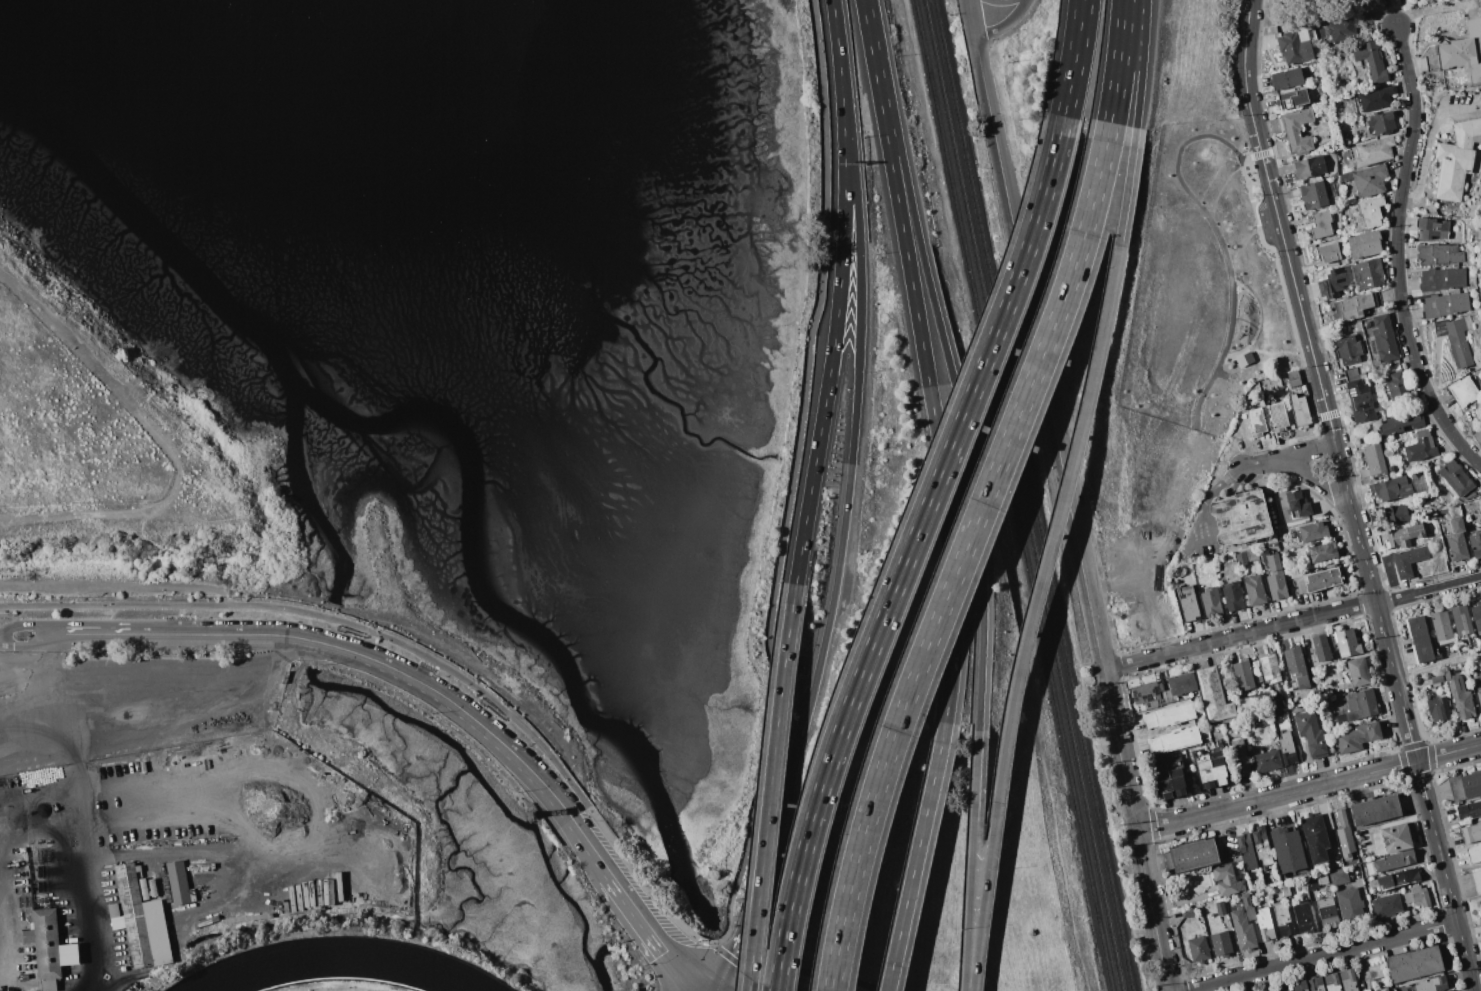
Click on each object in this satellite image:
road: (966, 1)
road: (1024, 2)
road: (1430, 10)
road: (1388, 13)
road: (1396, 13)
building: (1367, 16)
road: (970, 19)
road: (1002, 25)
building: (1340, 31)
road: (836, 35)
building: (1294, 48)
building: (1459, 53)
road: (1074, 58)
road: (1119, 61)
building: (1372, 61)
road: (1141, 63)
road: (1245, 77)
building: (1287, 78)
building: (1344, 78)
building: (1320, 87)
building: (1382, 97)
building: (1292, 99)
building: (1365, 101)
building: (1382, 123)
building: (1297, 131)
road: (1428, 147)
building: (1372, 151)
building: (1457, 160)
building: (1310, 167)
building: (1346, 177)
building: (1370, 180)
road: (1223, 186)
building: (1314, 195)
building: (1371, 211)
building: (1322, 225)
building: (1432, 228)
road: (1248, 237)
road: (1221, 240)
building: (1365, 244)
building: (1329, 252)
road: (1399, 253)
building: (1438, 254)
road: (1290, 260)
building: (1368, 273)
building: (1442, 279)
building: (1335, 281)
park: (1203, 287)
building: (1445, 305)
building: (1353, 306)
road: (1259, 322)
road: (835, 328)
road: (69, 329)
building: (1384, 338)
building: (1455, 340)
building: (1349, 350)
road: (1039, 353)
road: (1280, 353)
road: (924, 359)
building: (1244, 359)
road: (947, 361)
road: (1221, 373)
building: (1350, 374)
building: (1294, 379)
building: (1398, 389)
building: (1464, 392)
building: (1362, 401)
building: (1300, 411)
building: (1277, 413)
building: (1479, 421)
building: (1256, 422)
building: (1402, 424)
building: (1421, 447)
road: (852, 448)
road: (1308, 451)
building: (1375, 460)
park: (121, 462)
road: (1262, 463)
building: (1456, 478)
road: (1318, 479)
building: (1393, 489)
railway: (1012, 495)
railway: (1022, 495)
railway: (1032, 495)
road: (787, 503)
building: (1291, 506)
building: (1373, 514)
building: (1398, 514)
building: (1241, 518)
road: (195, 521)
building: (1314, 531)
building: (1404, 536)
building: (1458, 542)
building: (1476, 544)
road: (909, 550)
building: (1322, 552)
road: (963, 554)
building: (1252, 554)
road: (1046, 557)
building: (1242, 558)
building: (1409, 561)
road: (1367, 563)
building: (1276, 578)
building: (1323, 579)
road: (119, 585)
building: (1255, 590)
building: (1234, 595)
building: (1211, 601)
building: (1189, 607)
road: (323, 616)
building: (1477, 616)
road: (1292, 622)
road: (26, 624)
building: (1464, 625)
building: (1442, 627)
road: (219, 635)
building: (1420, 640)
building: (1346, 643)
road: (26, 647)
building: (1321, 647)
road: (336, 657)
road: (33, 665)
road: (1436, 665)
building: (1297, 667)
building: (1270, 668)
building: (1358, 672)
building: (1243, 674)
building: (1206, 676)
building: (1437, 679)
building: (1182, 684)
building: (1149, 695)
building: (1460, 695)
building: (1211, 696)
building: (1479, 697)
road: (146, 698)
building: (1171, 698)
building: (1276, 701)
building: (1360, 705)
building: (1439, 708)
building: (1285, 710)
building: (1220, 712)
building: (1171, 715)
building: (1341, 719)
road: (486, 730)
building: (1311, 734)
building: (1358, 737)
building: (1175, 740)
building: (1287, 748)
road: (1121, 750)
road: (1448, 753)
building: (1239, 754)
building: (1267, 761)
building: (1211, 766)
building: (1169, 777)
building: (1471, 785)
road: (770, 787)
road: (105, 793)
road: (1276, 795)
building: (1376, 810)
building: (1469, 810)
road: (155, 820)
building: (1471, 833)
road: (322, 836)
building: (1345, 836)
building: (1397, 837)
building: (1316, 838)
building: (1262, 848)
building: (1247, 850)
building: (1288, 850)
road: (82, 854)
building: (1474, 854)
road: (168, 855)
building: (1194, 855)
road: (915, 856)
road: (971, 859)
building: (1395, 861)
building: (1330, 866)
road: (1445, 875)
building: (1339, 877)
building: (1400, 878)
building: (1323, 879)
road: (639, 880)
building: (1227, 880)
building: (1477, 881)
building: (178, 882)
building: (1312, 883)
road: (755, 889)
building: (1277, 890)
building: (1286, 890)
building: (1417, 896)
road: (238, 898)
building: (1247, 900)
building: (1480, 903)
road: (3, 905)
building: (1387, 905)
building: (1351, 906)
road: (631, 907)
building: (1220, 908)
road: (1152, 910)
building: (1328, 912)
building: (1189, 913)
building: (1250, 914)
building: (1304, 917)
building: (1283, 920)
building: (140, 921)
building: (1265, 924)
building: (1243, 929)
building: (1221, 944)
building: (49, 945)
building: (1199, 949)
road: (1318, 955)
building: (1414, 964)
track: (342, 966)
road: (757, 970)
road: (804, 970)
building: (1375, 971)
road: (716, 974)
building: (1348, 980)
building: (1333, 982)
building: (1317, 984)
building: (1431, 984)
building: (1300, 986)
building: (1384, 989)
road: (701, 990)
road: (702, 990)
traffic signals: (702, 990)
road: (704, 990)
building: (1289, 990)

